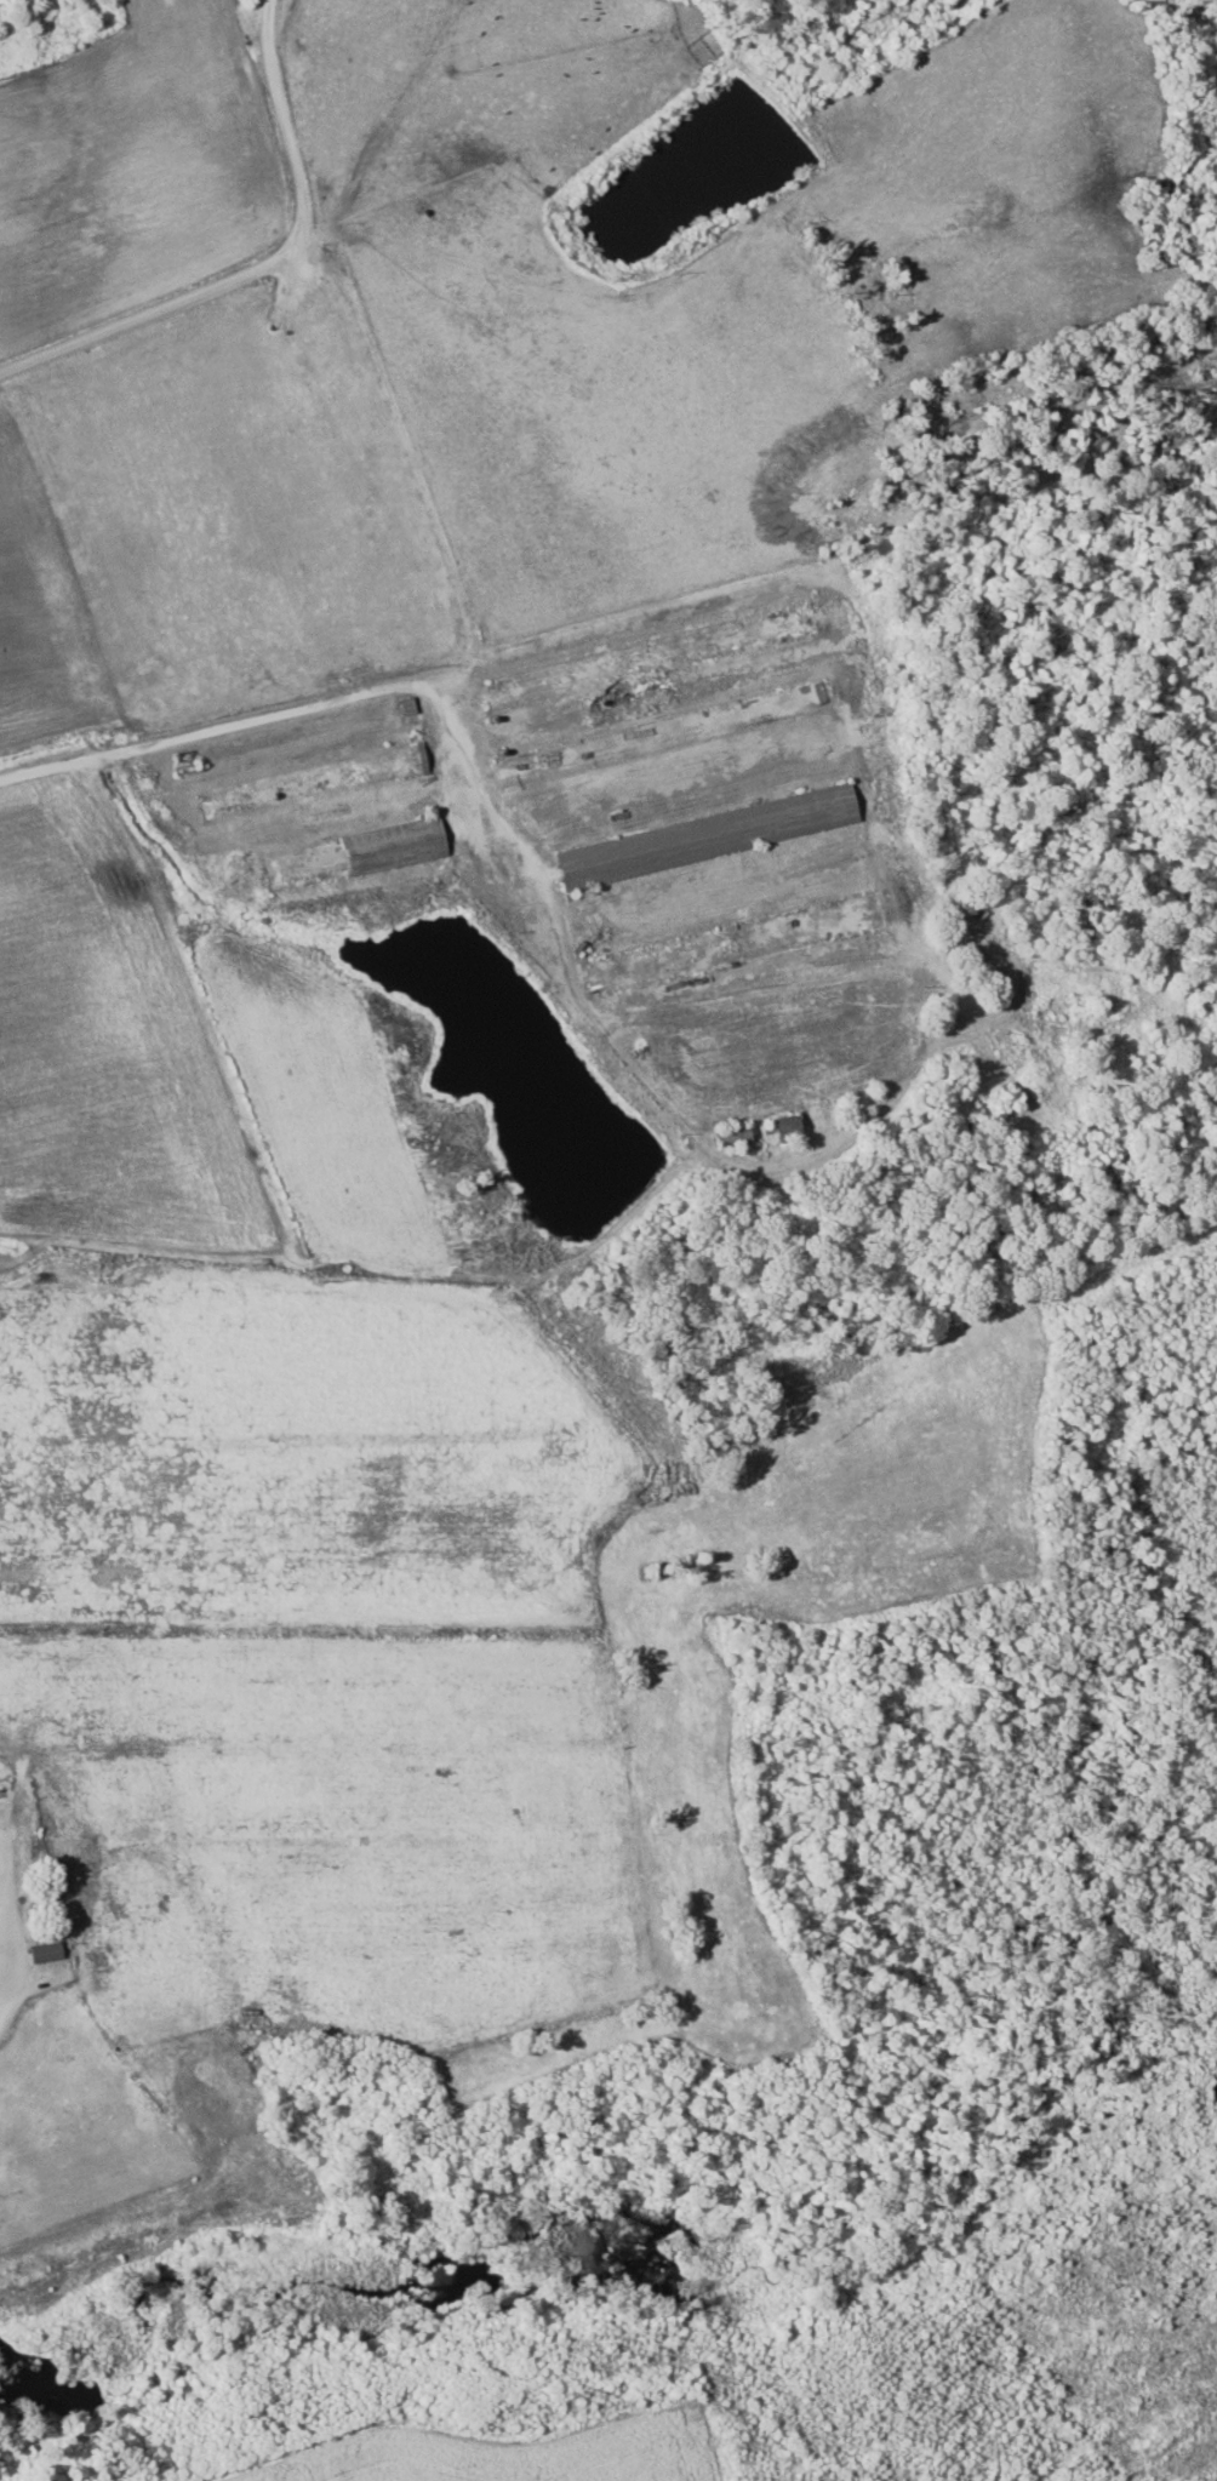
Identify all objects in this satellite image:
building: (806, 694)
building: (390, 845)
building: (640, 851)
building: (44, 1951)

